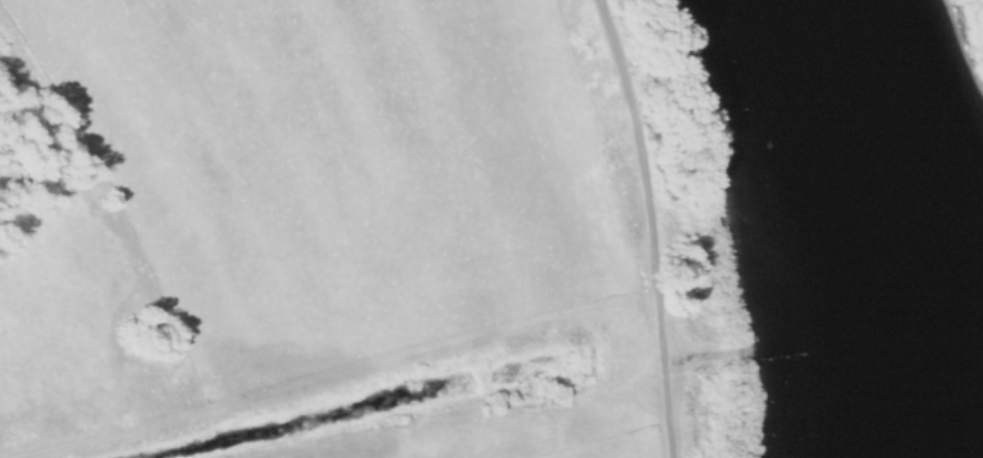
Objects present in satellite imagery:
river: (885, 192)
road: (653, 225)
river: (917, 380)

